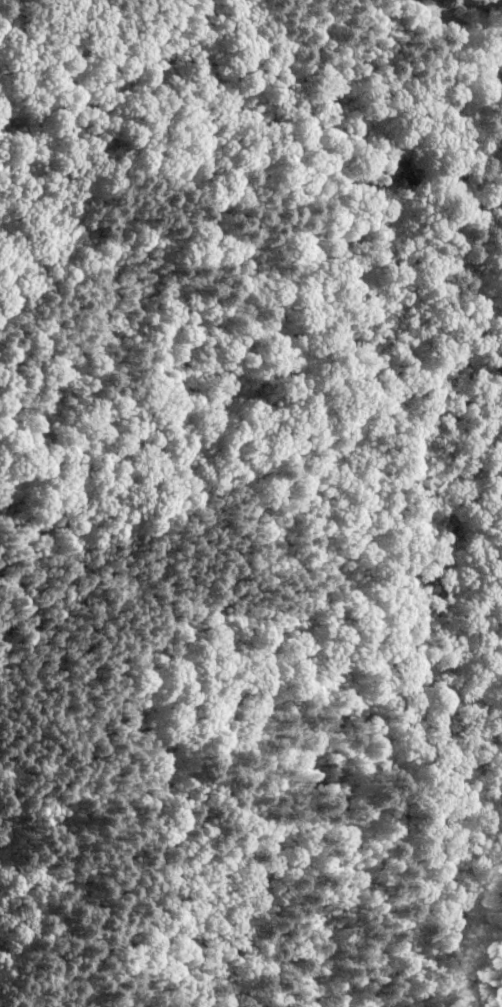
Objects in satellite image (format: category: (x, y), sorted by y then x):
road: (167, 595)

